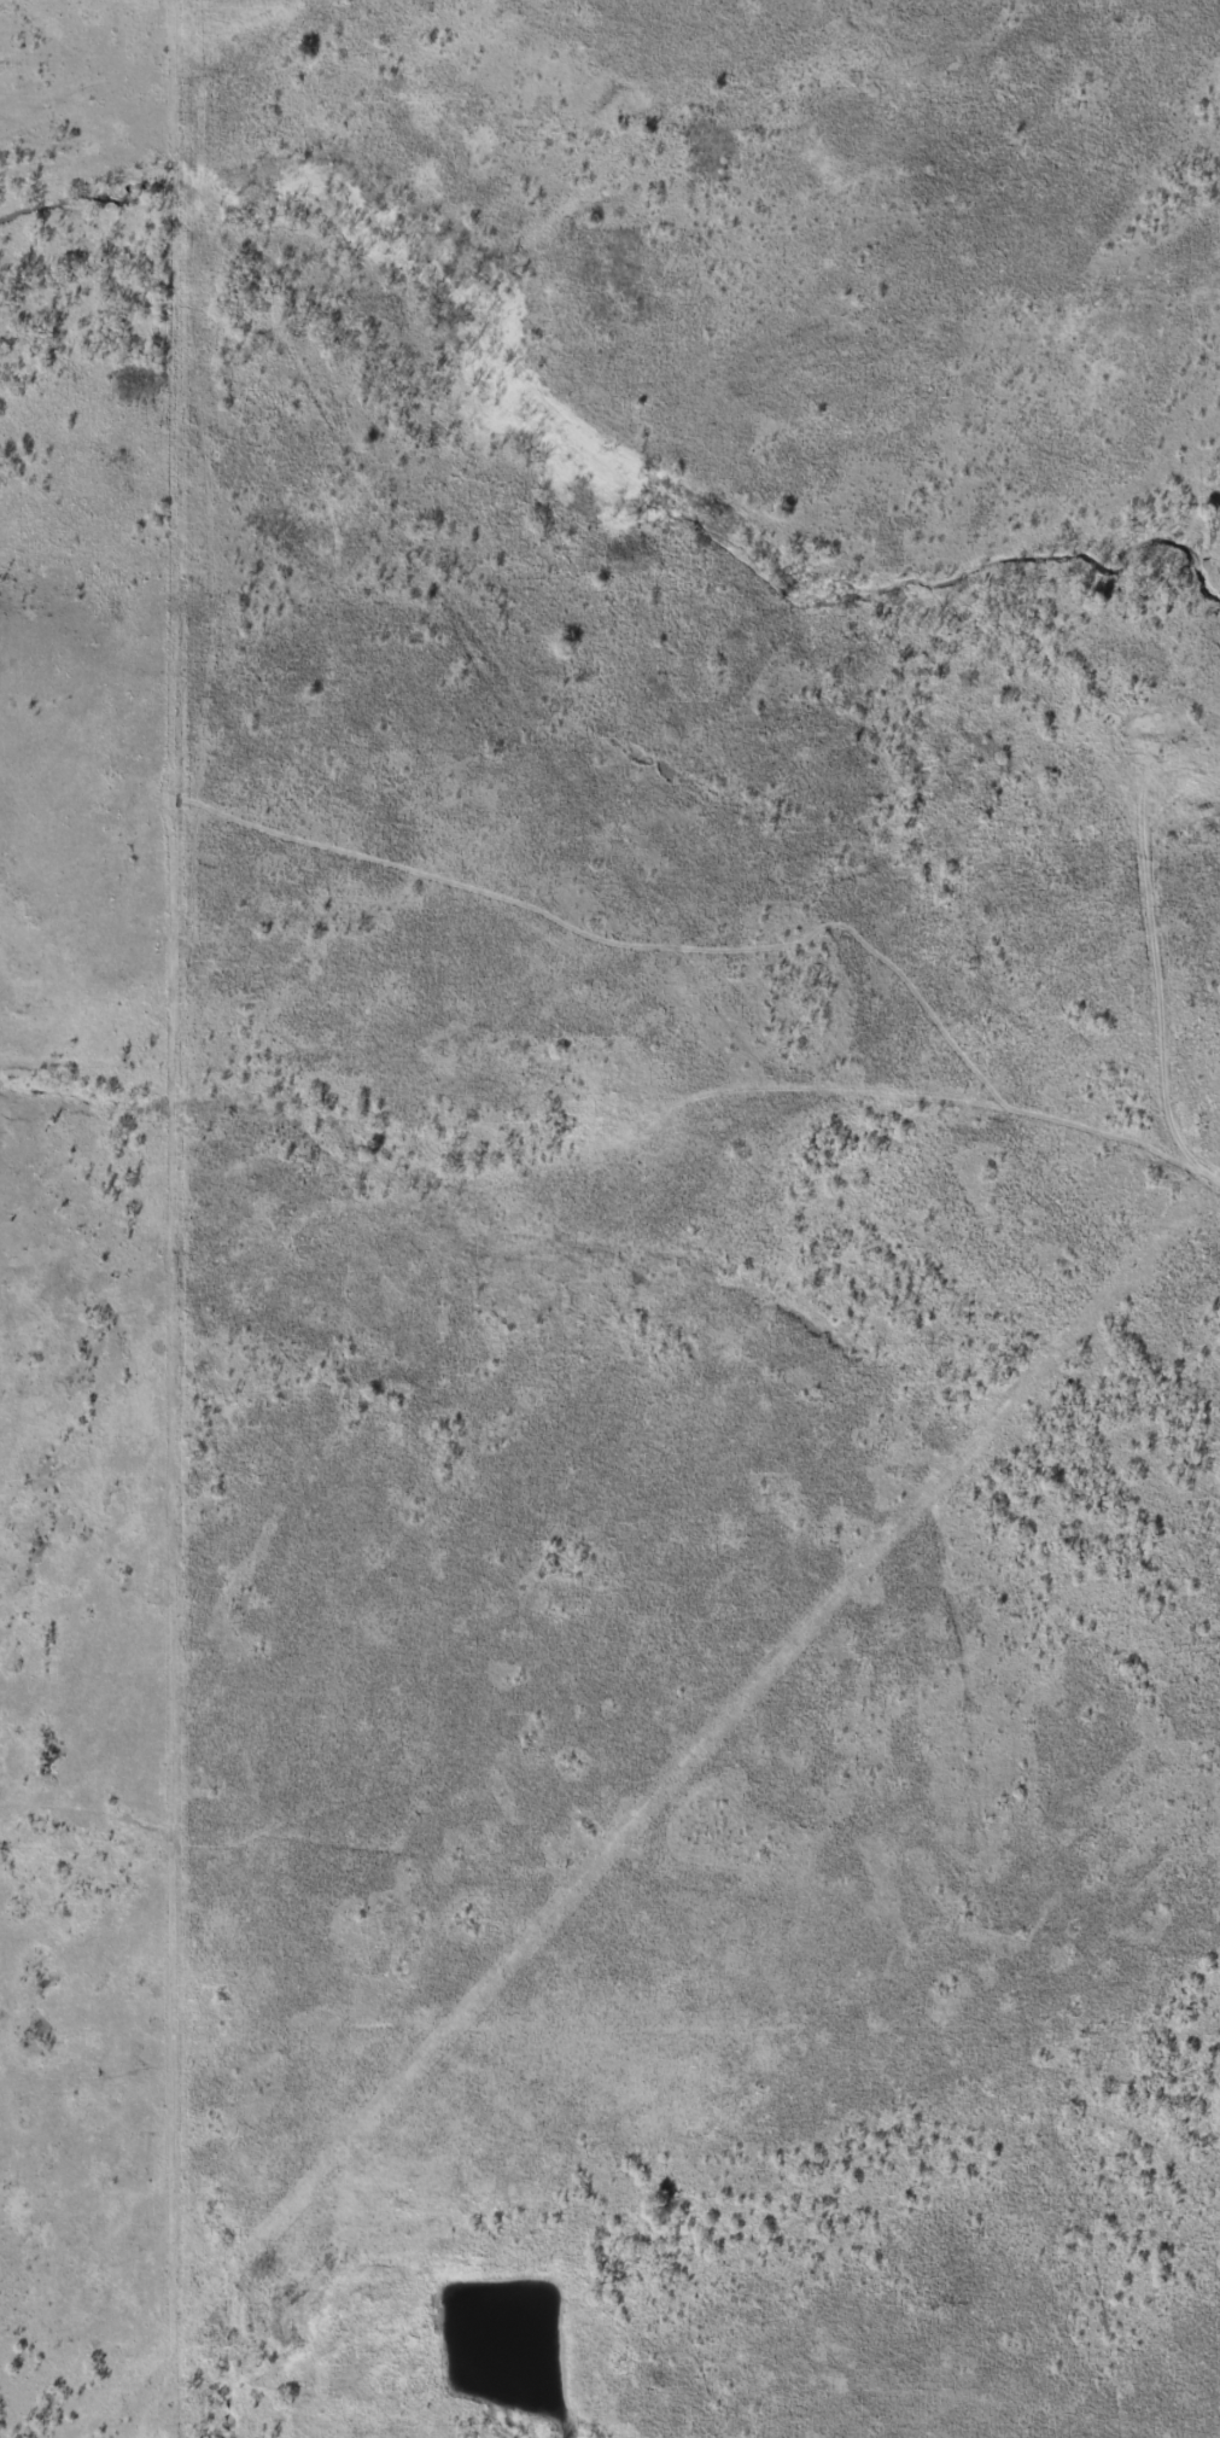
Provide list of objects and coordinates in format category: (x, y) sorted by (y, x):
road: (1148, 973)
road: (1006, 1172)
road: (656, 1190)
road: (84, 2367)

